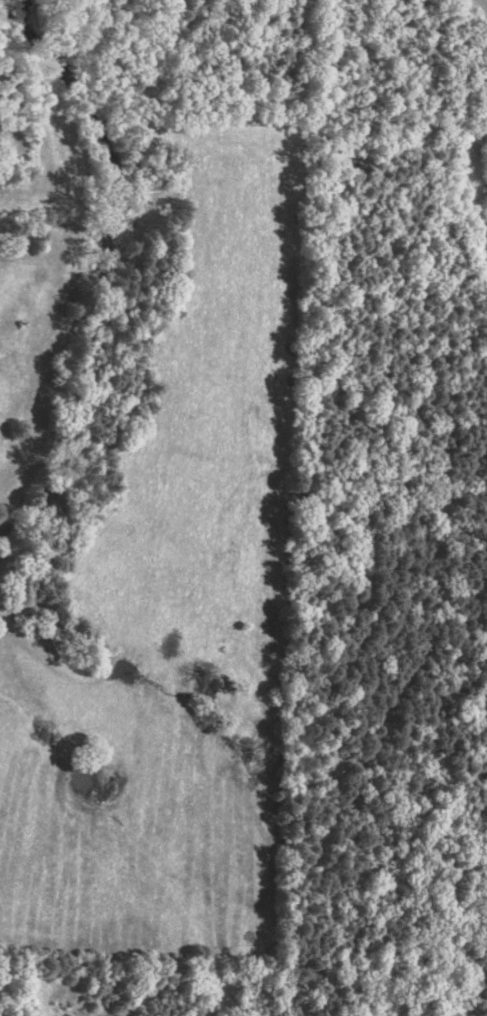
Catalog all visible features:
park: (9, 94)

